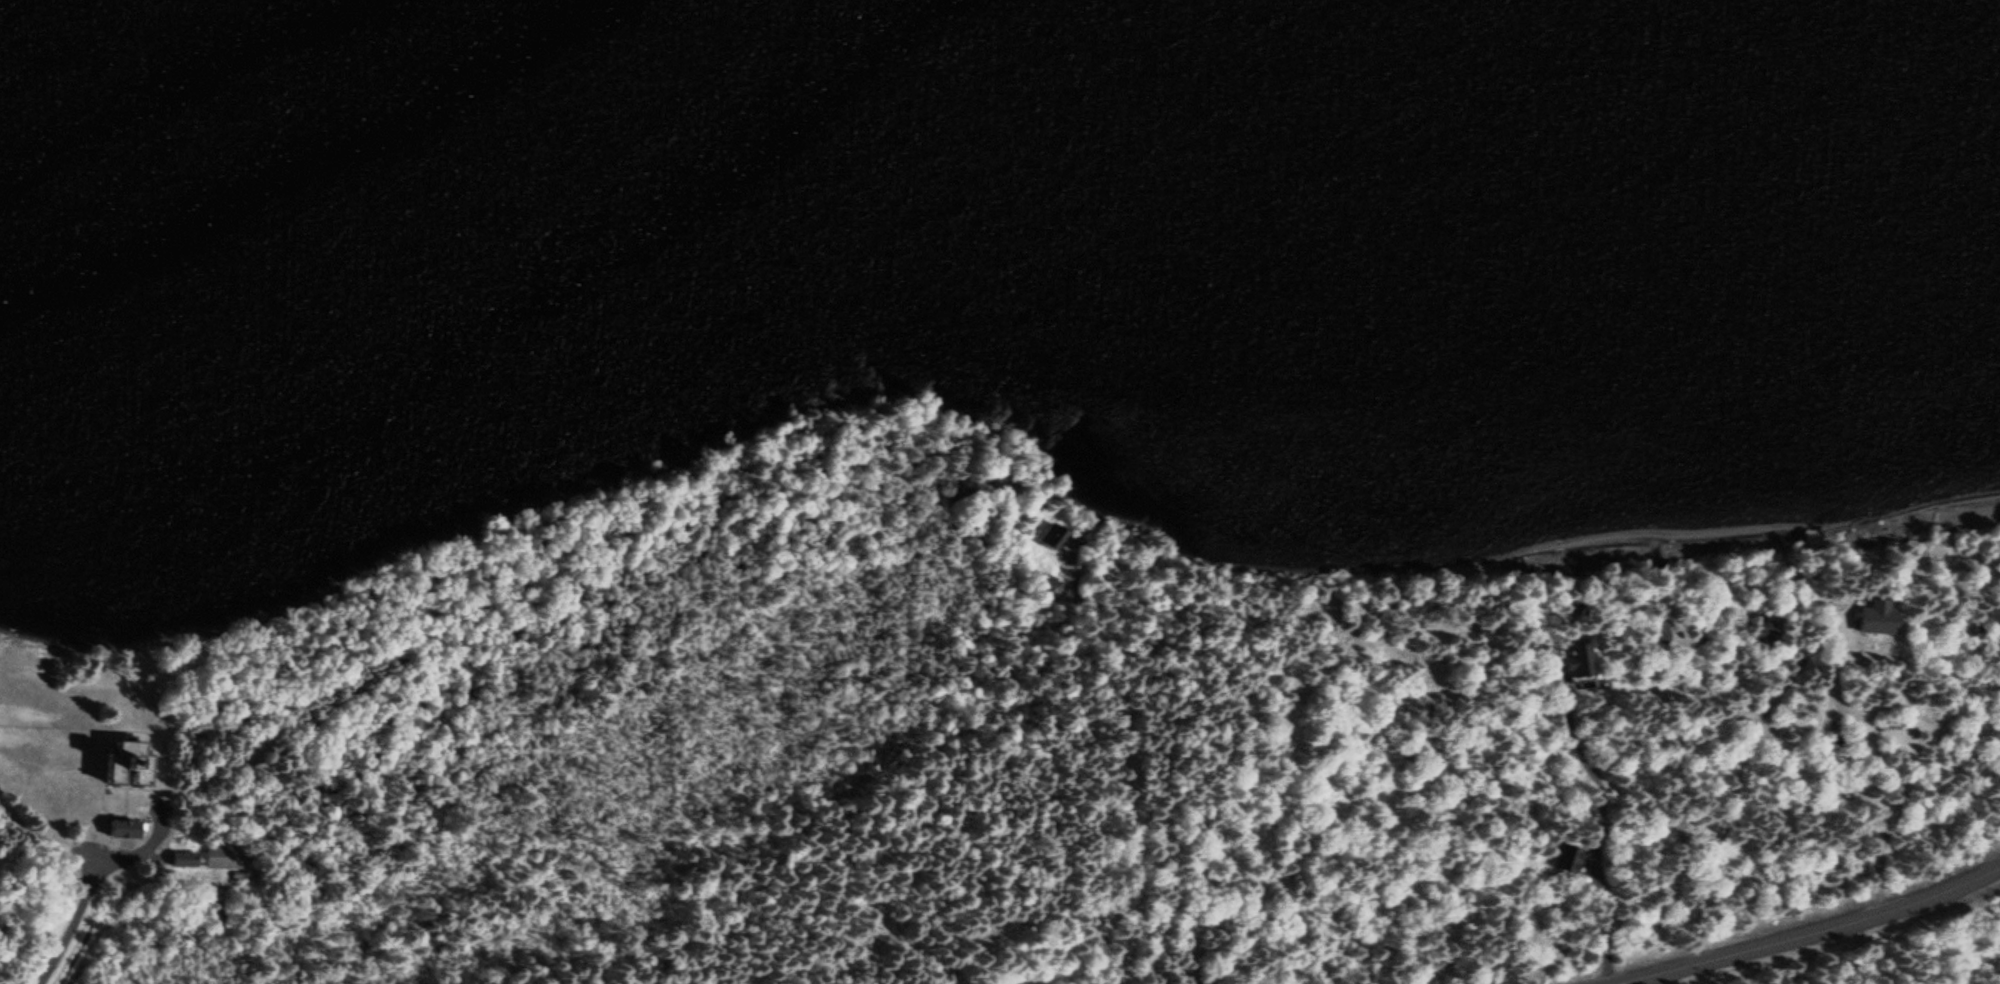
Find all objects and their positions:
building: (124, 764)
building: (122, 829)
building: (223, 857)
building: (184, 863)
building: (234, 875)
road: (72, 920)
road: (1802, 930)

